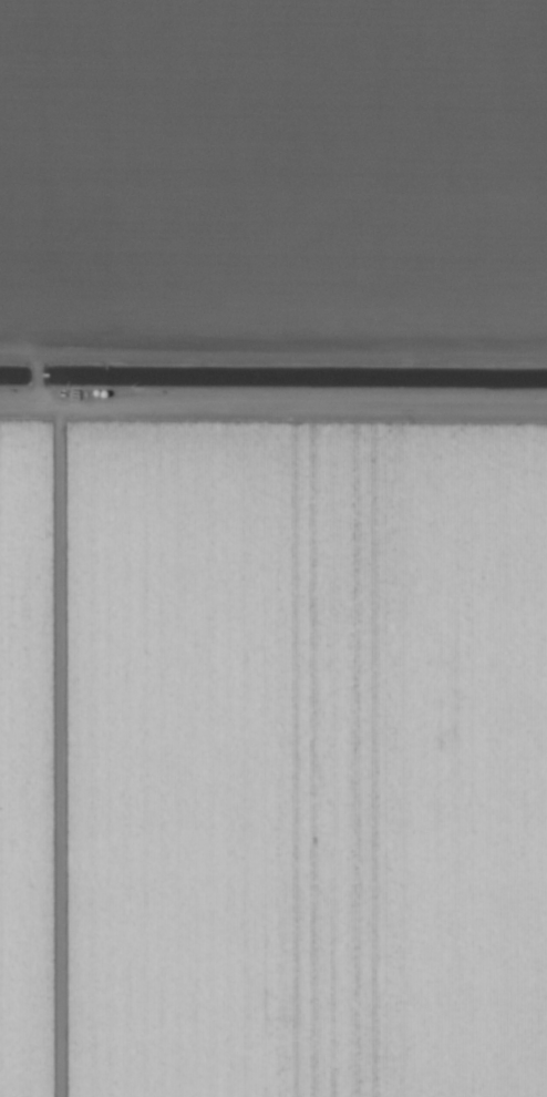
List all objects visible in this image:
crop: (273, 548)

